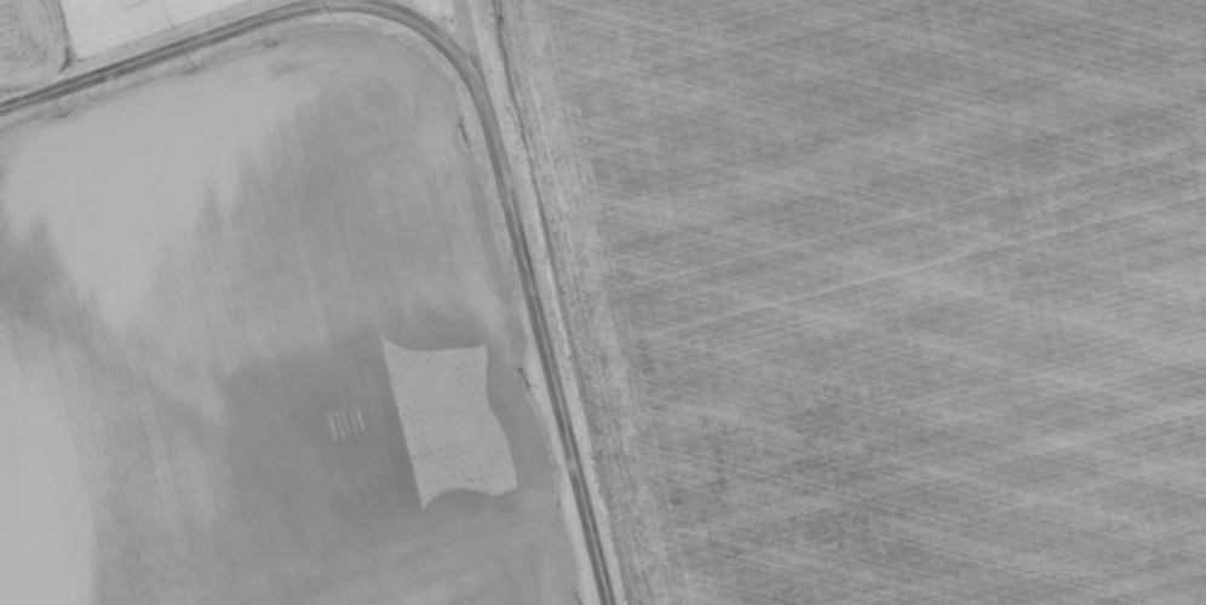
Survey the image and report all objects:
road: (460, 36)
road: (473, 90)

